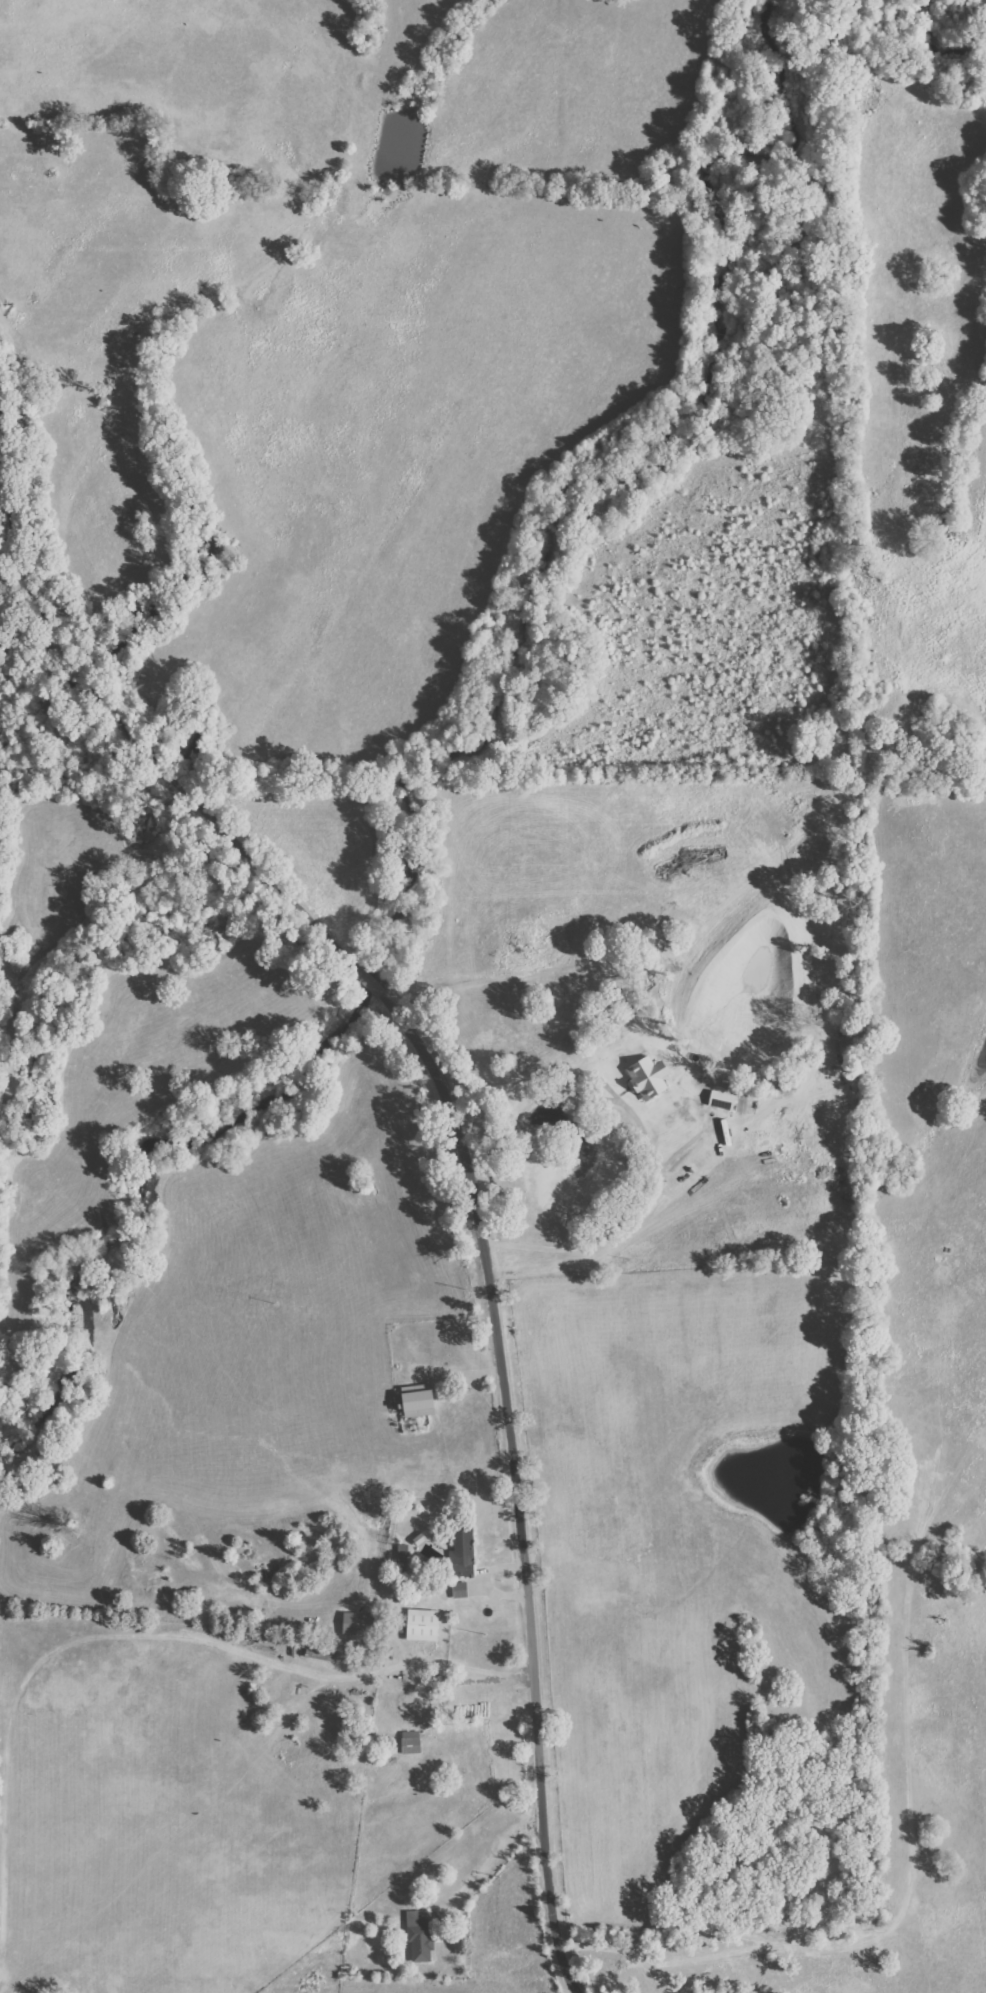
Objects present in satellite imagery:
building: (847, 1044)
building: (649, 1077)
road: (450, 1118)
road: (614, 1221)
building: (420, 1402)
building: (426, 1547)
building: (465, 1552)
building: (403, 1555)
building: (460, 1589)
building: (359, 1623)
building: (423, 1624)
building: (412, 1742)
building: (420, 1936)

